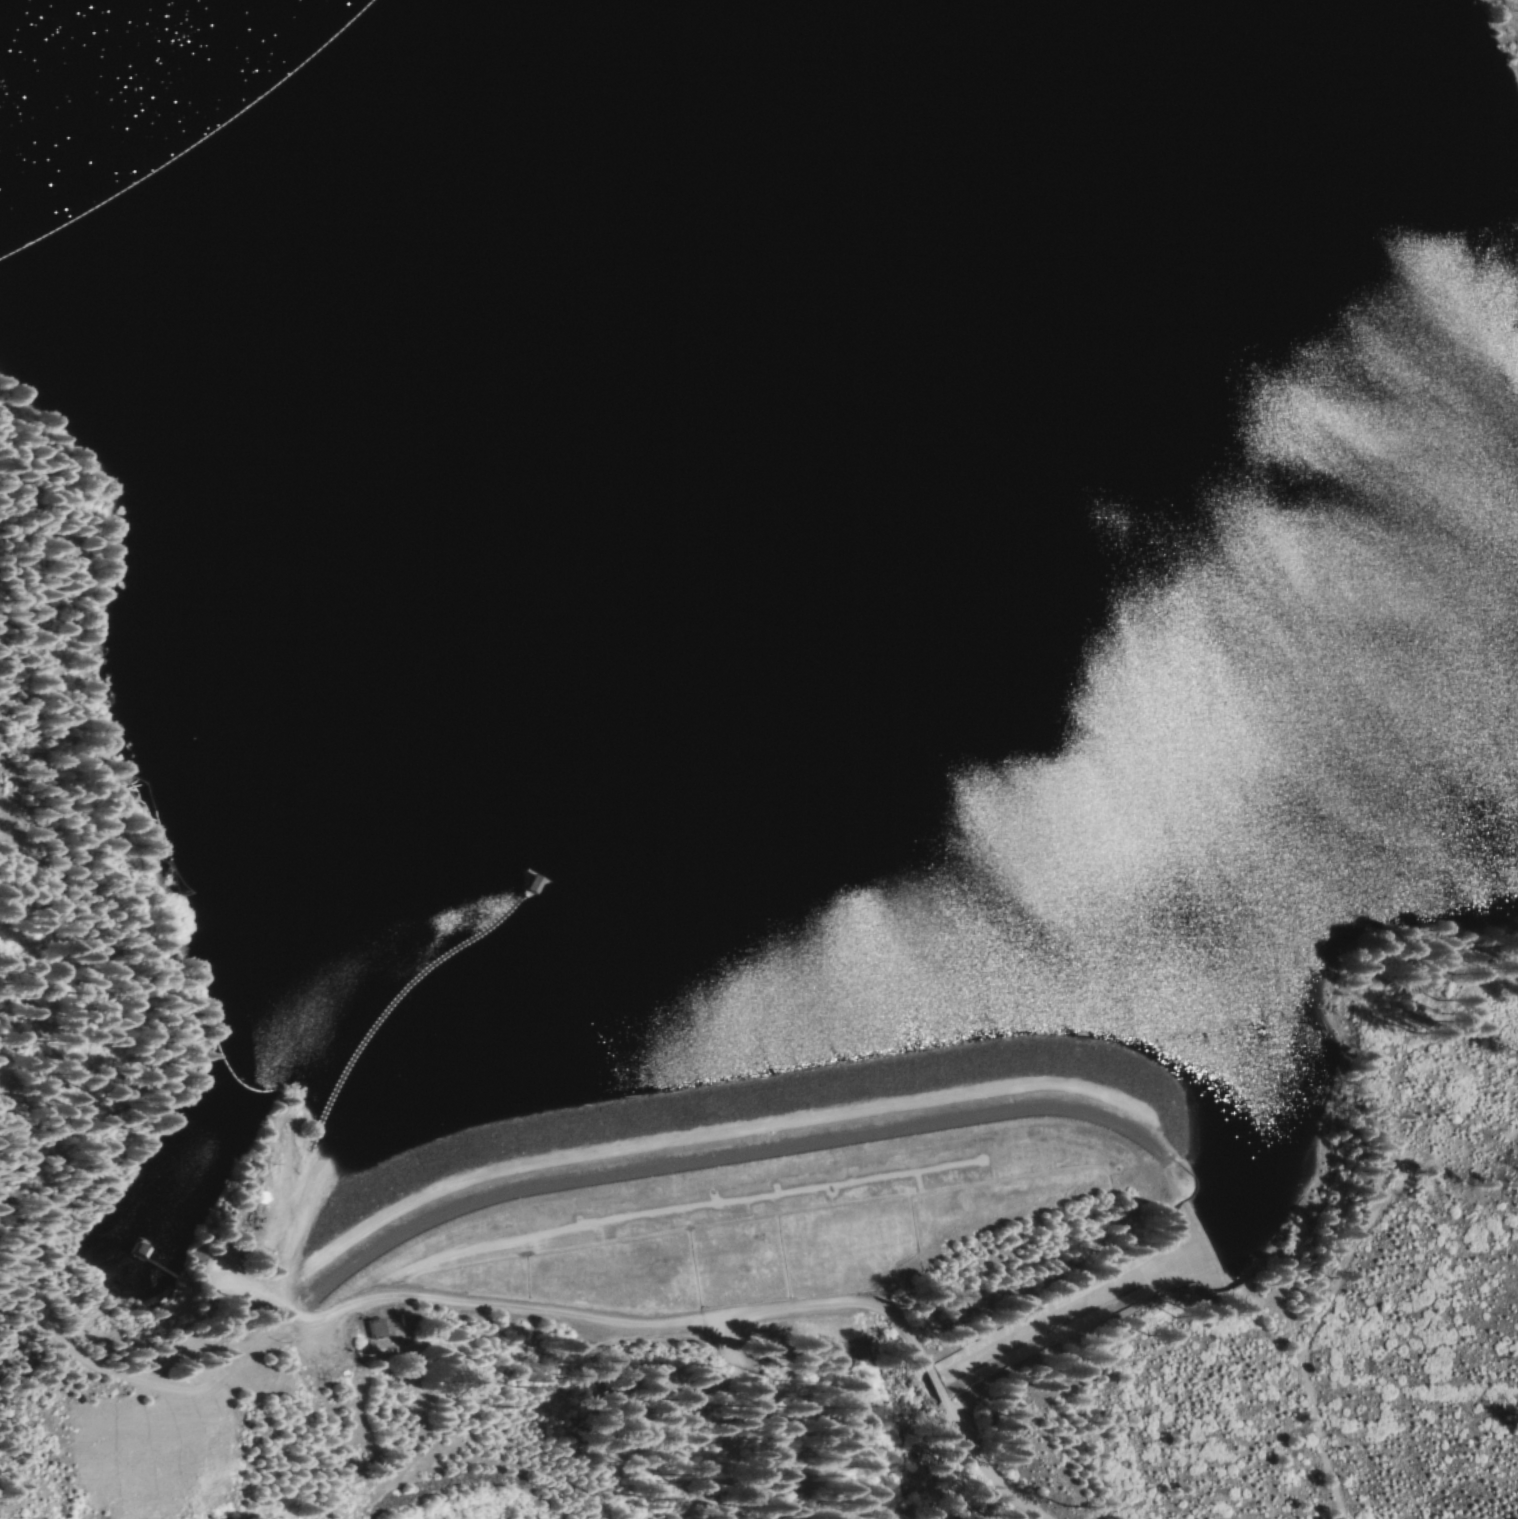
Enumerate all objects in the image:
dam: (755, 1132)
road: (721, 1157)
road: (450, 1300)
road: (829, 1303)
building: (377, 1327)
road: (157, 1385)
road: (929, 1386)
road: (756, 1412)
road: (973, 1465)

